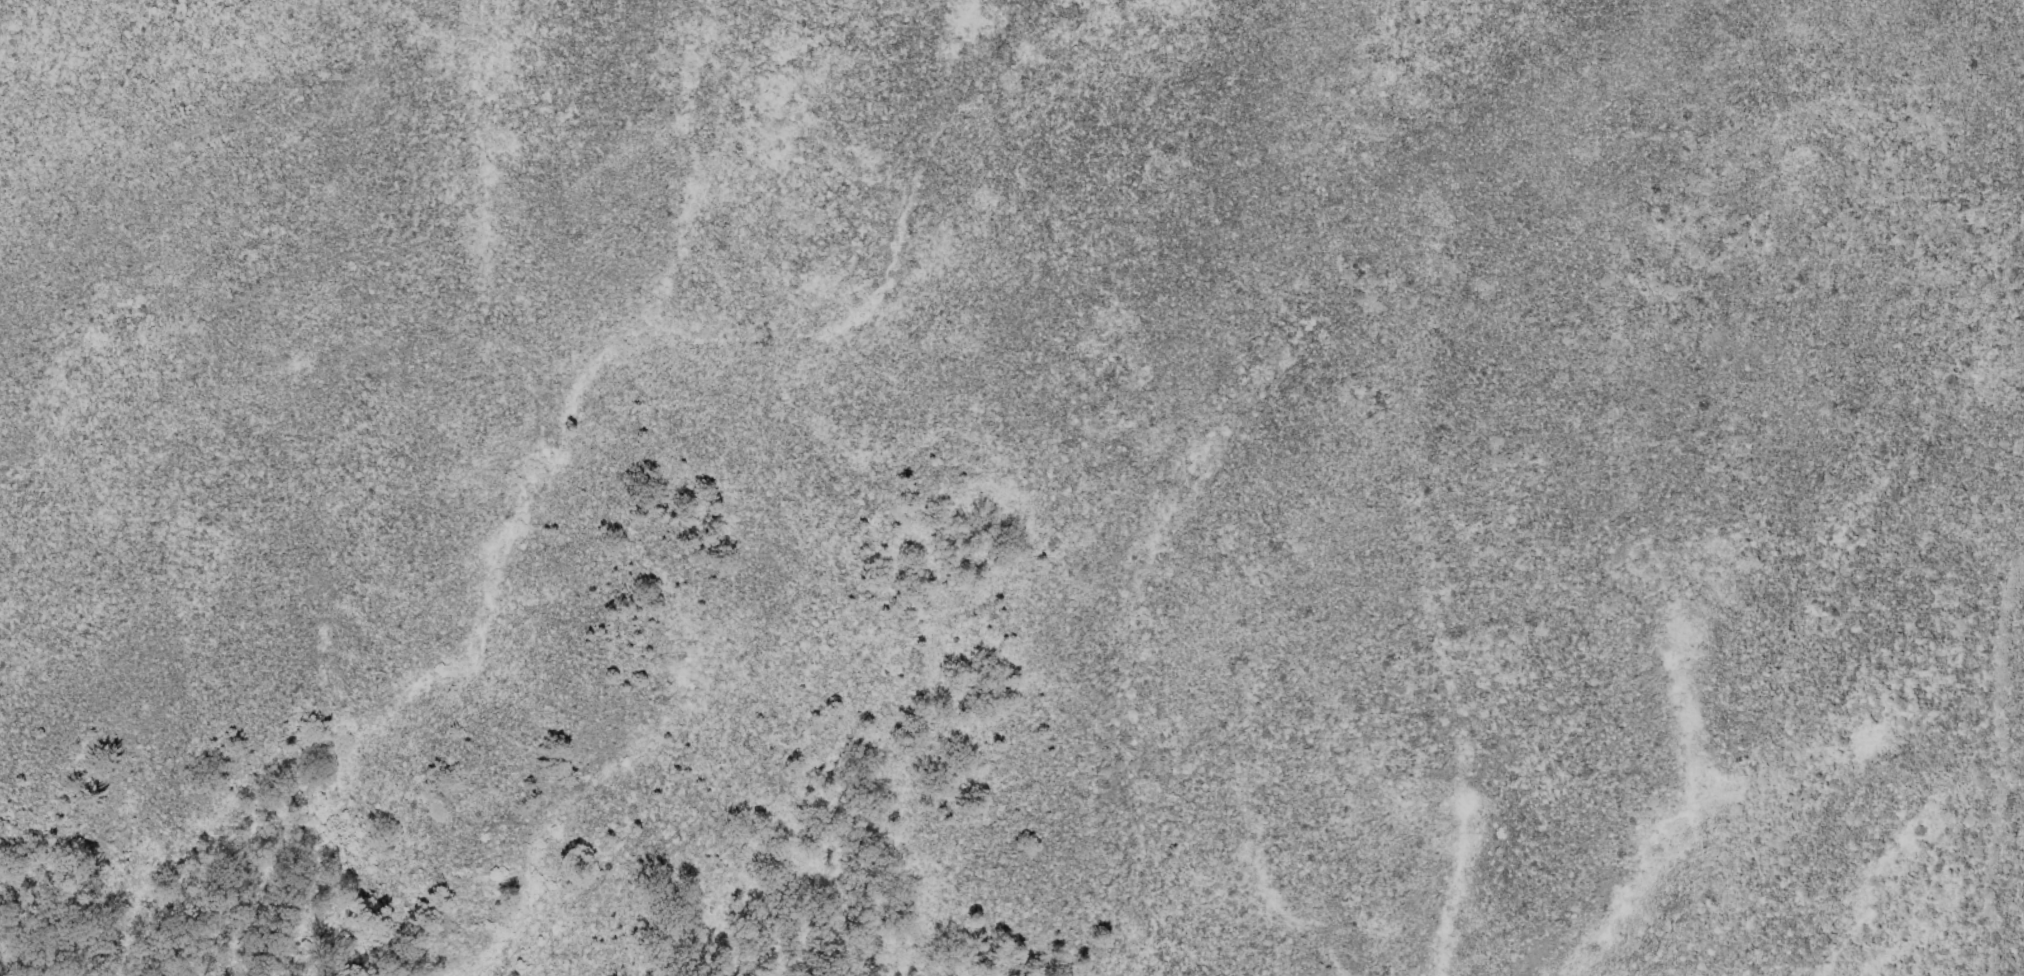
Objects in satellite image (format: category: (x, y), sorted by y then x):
road: (2004, 292)
park: (1159, 417)

